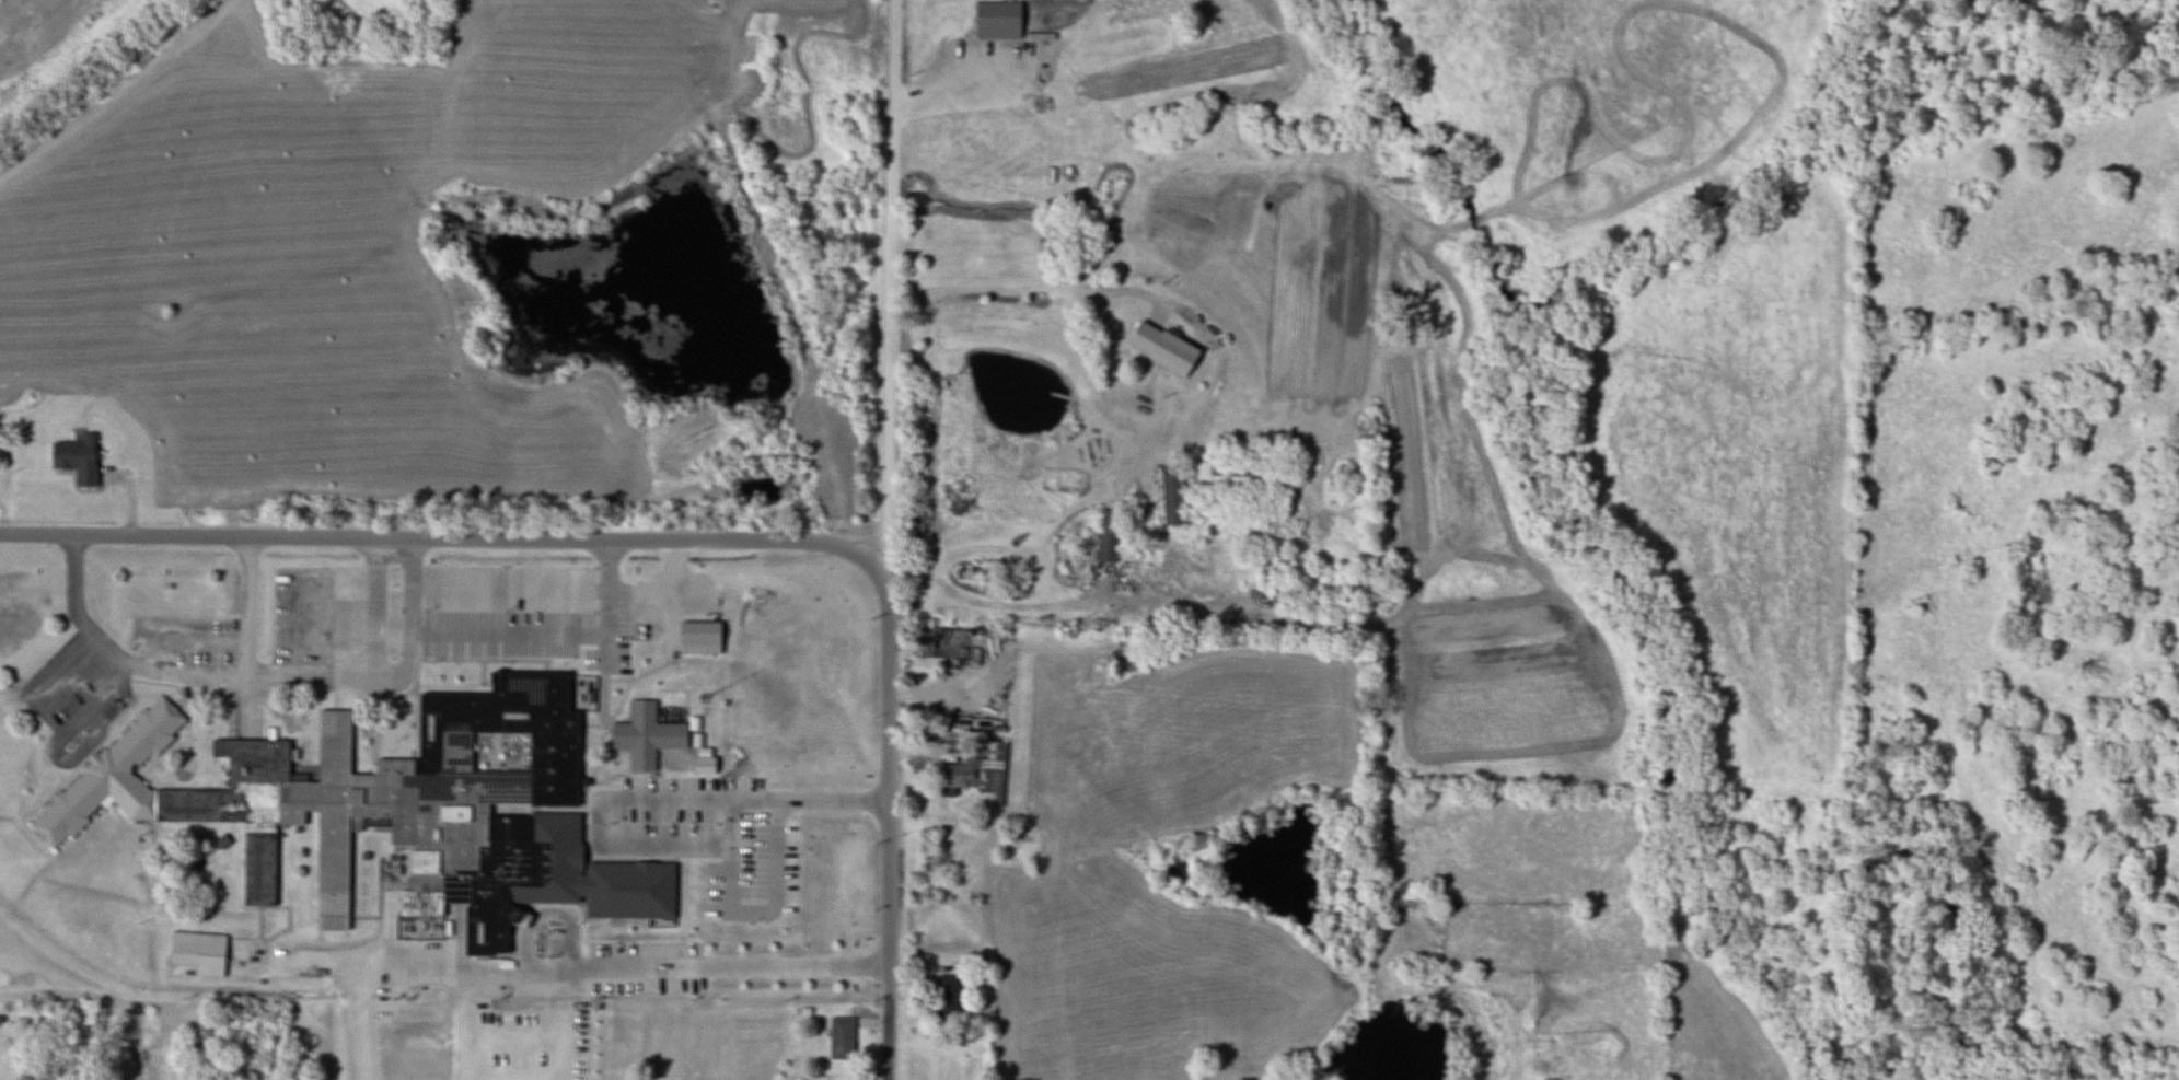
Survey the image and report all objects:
road: (1030, 283)
road: (890, 291)
building: (1160, 347)
building: (74, 457)
building: (1235, 468)
building: (1170, 496)
building: (1106, 535)
road: (450, 539)
road: (373, 606)
road: (250, 634)
building: (697, 637)
building: (939, 642)
road: (193, 673)
building: (644, 735)
building: (977, 774)
building: (224, 797)
building: (420, 806)
road: (733, 808)
road: (878, 831)
building: (1013, 850)
road: (767, 856)
road: (719, 861)
building: (197, 952)
road: (712, 971)
building: (947, 995)
building: (77, 1014)
building: (839, 1037)
helipad: (420, 1050)

